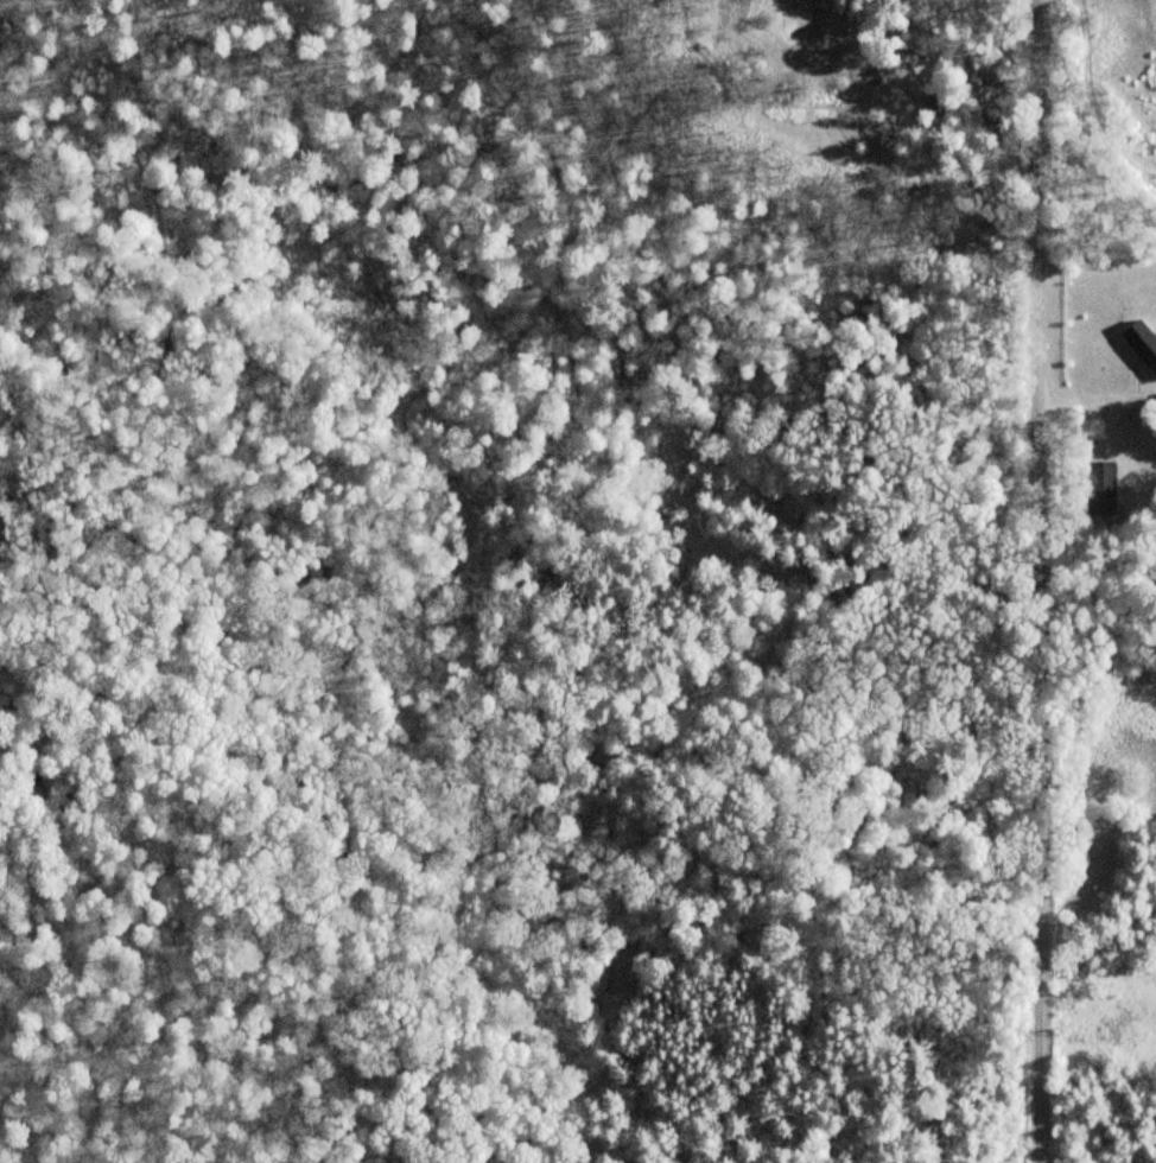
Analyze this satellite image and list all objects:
building: (1139, 347)
building: (1098, 491)
road: (1031, 581)

